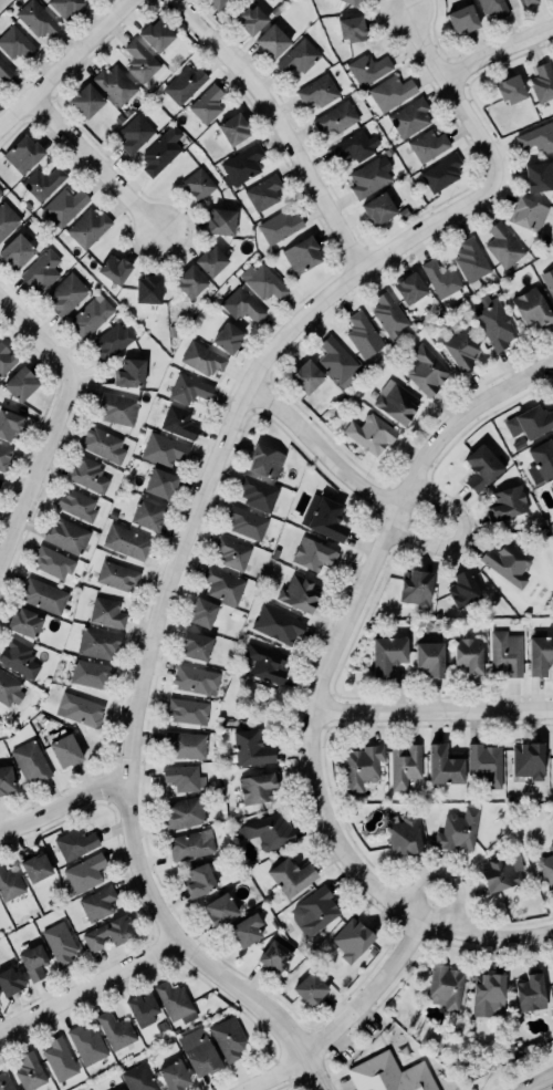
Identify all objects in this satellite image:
building: (351, 2)
building: (530, 2)
building: (217, 4)
building: (65, 7)
building: (493, 7)
building: (275, 10)
building: (36, 18)
building: (463, 18)
building: (251, 19)
building: (352, 28)
building: (157, 34)
building: (272, 40)
building: (15, 43)
road: (497, 52)
building: (299, 56)
building: (139, 60)
road: (67, 66)
building: (367, 69)
building: (4, 71)
building: (543, 81)
building: (184, 83)
building: (114, 84)
building: (511, 89)
building: (316, 91)
building: (390, 92)
building: (86, 101)
building: (206, 103)
building: (127, 111)
building: (335, 117)
building: (409, 117)
building: (118, 118)
building: (233, 127)
road: (275, 128)
building: (134, 134)
building: (536, 137)
building: (354, 145)
building: (428, 145)
building: (160, 150)
building: (387, 152)
building: (23, 154)
building: (241, 165)
road: (96, 168)
building: (441, 173)
building: (540, 175)
building: (368, 177)
building: (42, 181)
building: (198, 184)
building: (0, 193)
building: (263, 193)
building: (0, 195)
building: (63, 206)
building: (378, 208)
building: (403, 212)
building: (529, 214)
building: (7, 218)
building: (221, 220)
building: (279, 226)
building: (87, 227)
building: (502, 245)
building: (17, 250)
building: (302, 253)
building: (470, 259)
building: (211, 260)
building: (552, 267)
building: (114, 268)
building: (41, 270)
building: (440, 279)
building: (190, 281)
building: (262, 281)
building: (409, 288)
building: (550, 288)
building: (148, 289)
building: (66, 294)
building: (242, 304)
building: (531, 308)
building: (90, 315)
building: (388, 315)
building: (493, 322)
building: (362, 334)
building: (228, 338)
building: (111, 341)
building: (461, 349)
building: (202, 357)
building: (6, 360)
building: (336, 361)
building: (426, 371)
building: (129, 372)
building: (306, 376)
building: (21, 383)
building: (188, 387)
building: (396, 402)
building: (114, 407)
building: (530, 422)
road: (56, 423)
building: (178, 423)
building: (10, 425)
building: (371, 433)
building: (103, 444)
building: (518, 444)
building: (164, 449)
building: (3, 457)
building: (265, 460)
building: (541, 461)
building: (482, 468)
building: (87, 474)
building: (0, 479)
building: (160, 484)
building: (552, 488)
building: (257, 492)
building: (533, 492)
road: (389, 502)
building: (507, 504)
building: (76, 505)
road: (195, 513)
building: (112, 515)
building: (147, 515)
building: (324, 518)
building: (246, 522)
building: (552, 525)
building: (66, 536)
building: (125, 541)
building: (232, 552)
building: (312, 553)
building: (52, 561)
building: (508, 562)
building: (116, 575)
building: (223, 584)
building: (416, 588)
building: (463, 589)
building: (299, 593)
building: (43, 594)
building: (106, 612)
building: (202, 612)
building: (24, 622)
building: (276, 624)
road: (345, 624)
building: (97, 643)
building: (196, 645)
building: (469, 653)
building: (505, 653)
building: (388, 654)
building: (540, 655)
building: (19, 658)
building: (430, 658)
building: (265, 663)
building: (91, 673)
building: (196, 679)
building: (9, 689)
park: (259, 703)
building: (80, 709)
building: (188, 709)
road: (432, 712)
building: (186, 745)
building: (251, 748)
building: (64, 749)
building: (529, 760)
building: (30, 761)
building: (486, 764)
building: (363, 766)
building: (405, 766)
building: (445, 766)
building: (182, 777)
building: (6, 779)
building: (257, 788)
road: (63, 807)
building: (184, 814)
building: (269, 830)
building: (458, 830)
building: (538, 832)
building: (405, 835)
building: (74, 842)
building: (190, 844)
building: (35, 868)
building: (546, 869)
building: (84, 873)
building: (499, 874)
building: (291, 876)
building: (198, 881)
building: (9, 884)
building: (97, 903)
building: (219, 910)
building: (314, 911)
building: (247, 930)
building: (108, 933)
road: (486, 935)
building: (352, 940)
building: (59, 943)
building: (274, 955)
building: (33, 962)
building: (552, 970)
building: (10, 982)
road: (87, 986)
building: (446, 986)
building: (311, 988)
building: (531, 992)
building: (488, 994)
building: (174, 1001)
building: (142, 1008)
road: (346, 1019)
building: (160, 1026)
building: (115, 1030)
building: (228, 1038)
building: (86, 1044)
building: (198, 1051)
building: (59, 1058)
building: (29, 1071)
building: (389, 1073)
building: (174, 1075)
building: (138, 1077)
road: (290, 1079)
building: (4, 1081)
road: (538, 1082)
park: (286, 1084)
road: (280, 1086)
building: (122, 1089)

